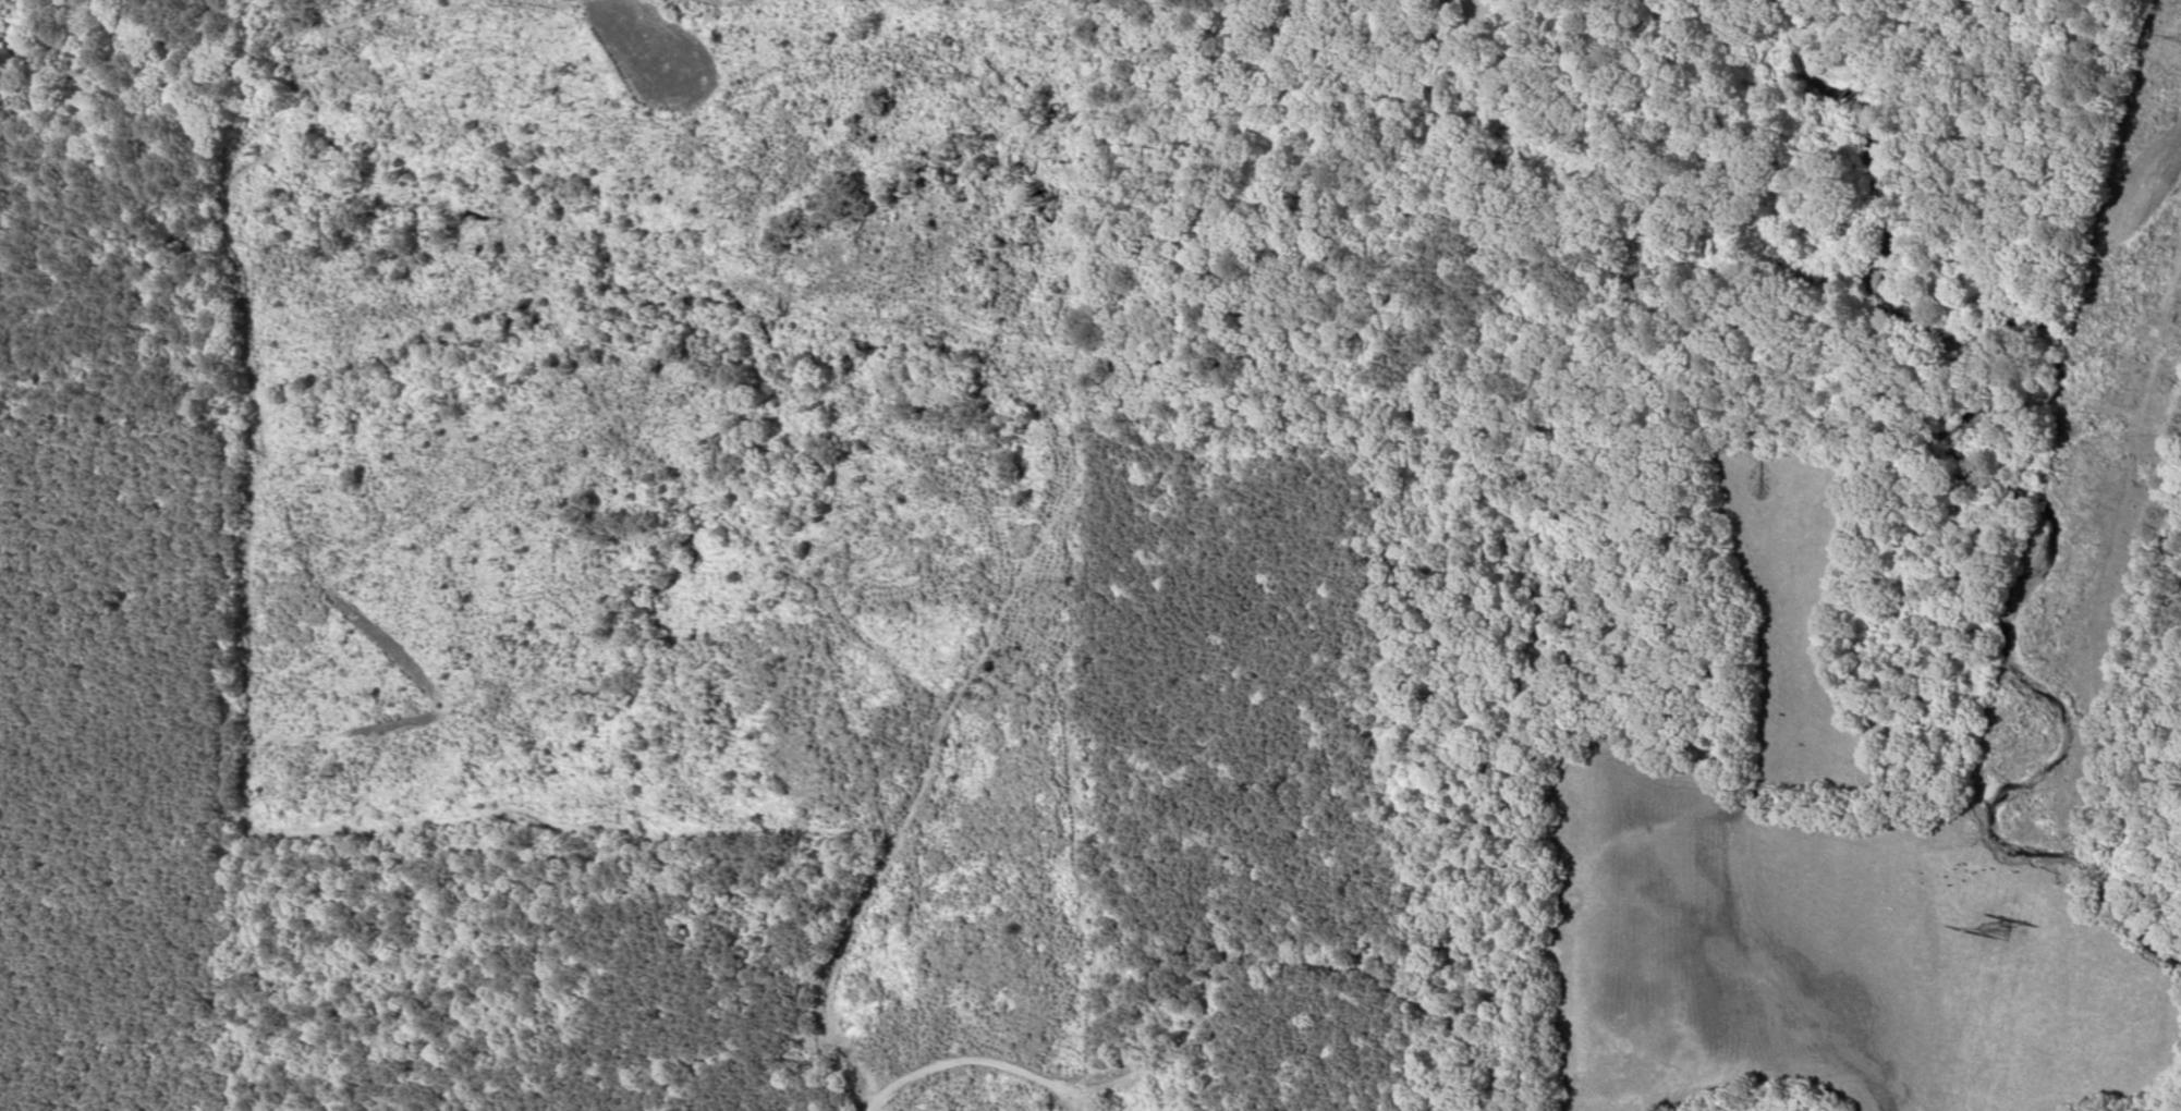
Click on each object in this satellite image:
power tower: (2007, 929)
road: (962, 1062)

